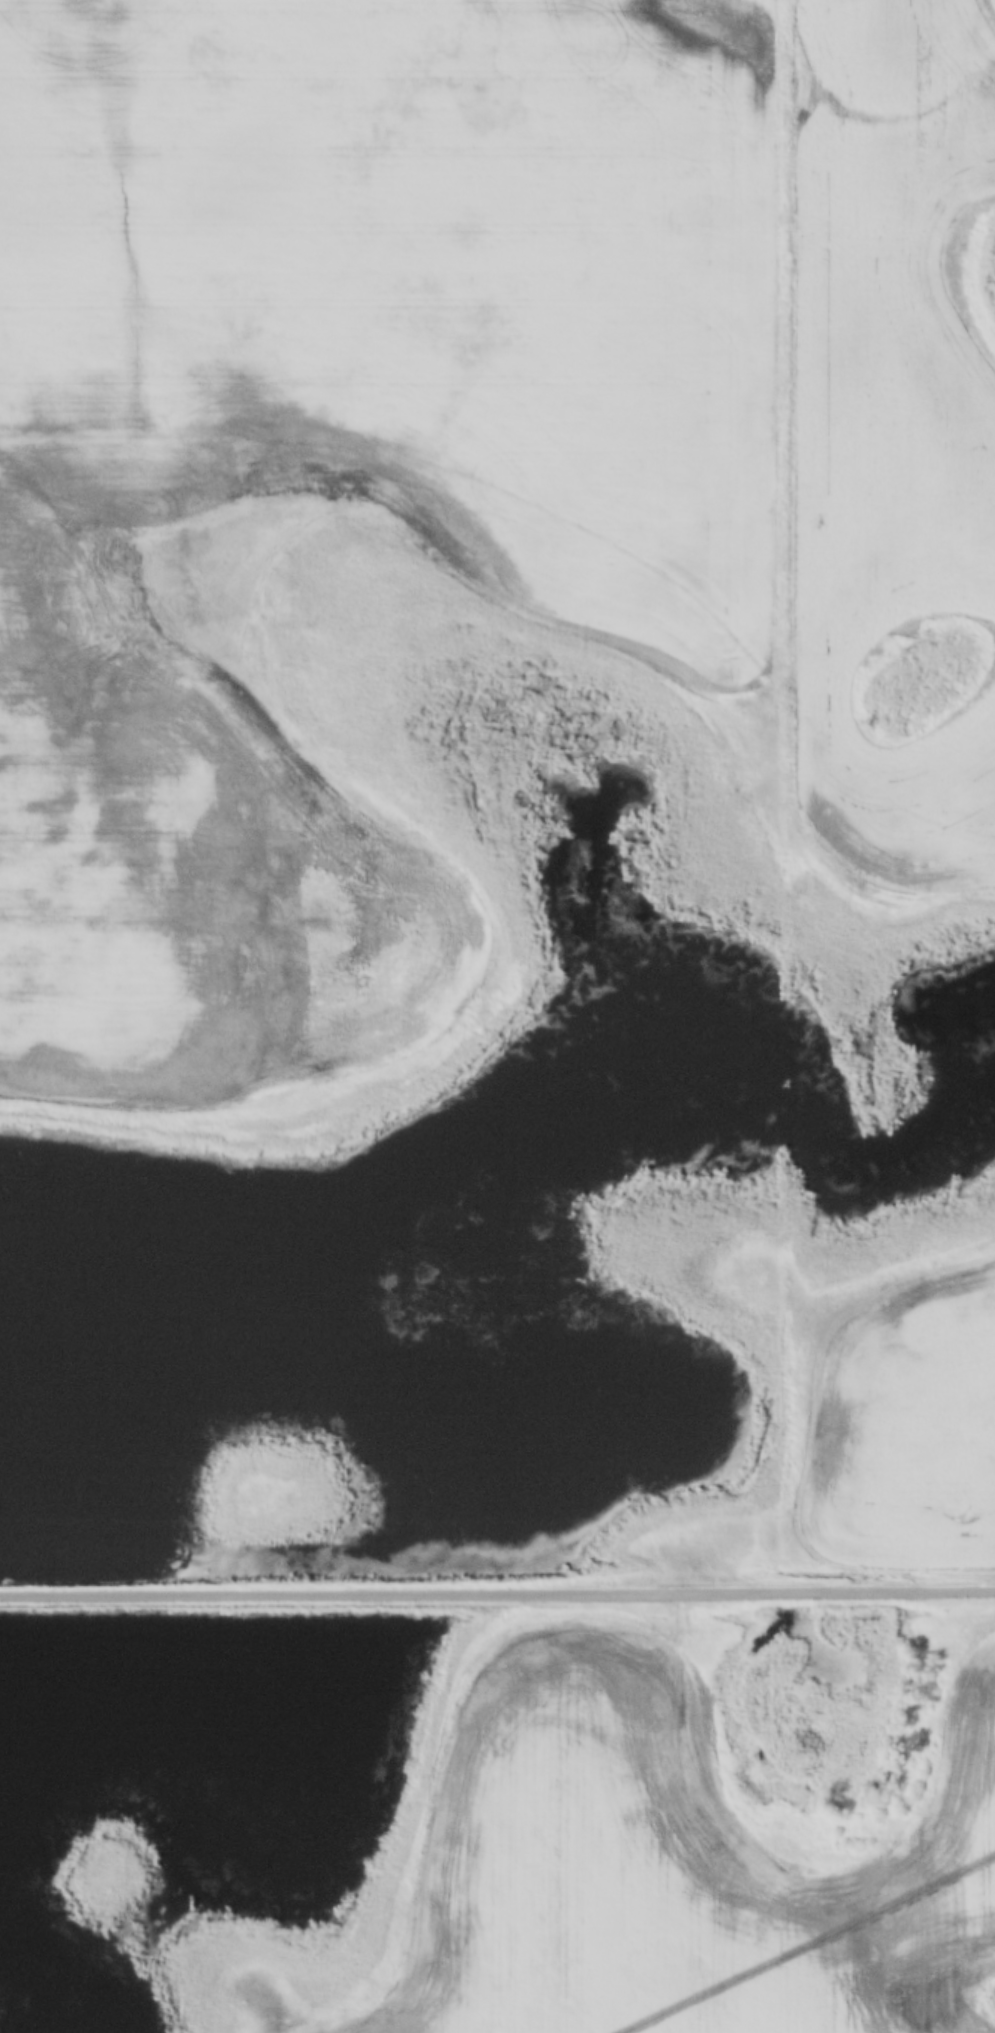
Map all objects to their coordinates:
road: (497, 1592)

